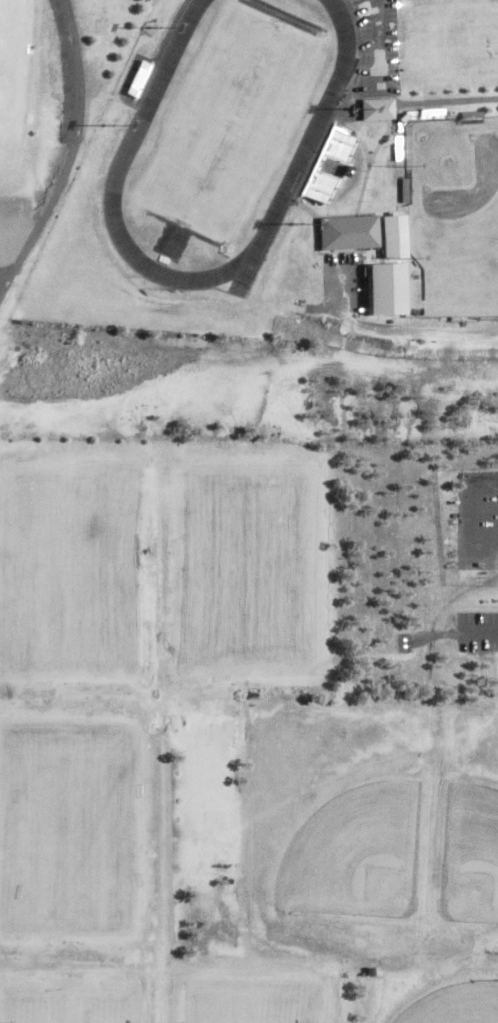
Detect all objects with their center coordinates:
building: (83, 1)
park: (6, 25)
road: (375, 60)
building: (136, 80)
road: (451, 101)
building: (374, 110)
track: (138, 122)
park: (5, 123)
park: (227, 123)
road: (69, 153)
building: (327, 166)
park: (451, 218)
building: (347, 235)
building: (390, 238)
flagpole: (160, 286)
park: (71, 569)
park: (243, 578)
road: (477, 624)
parking lot: (477, 629)
park: (232, 638)
park: (67, 779)
park: (470, 849)
park: (353, 852)
park: (67, 887)
park: (453, 1003)
park: (245, 1005)
park: (65, 1008)

